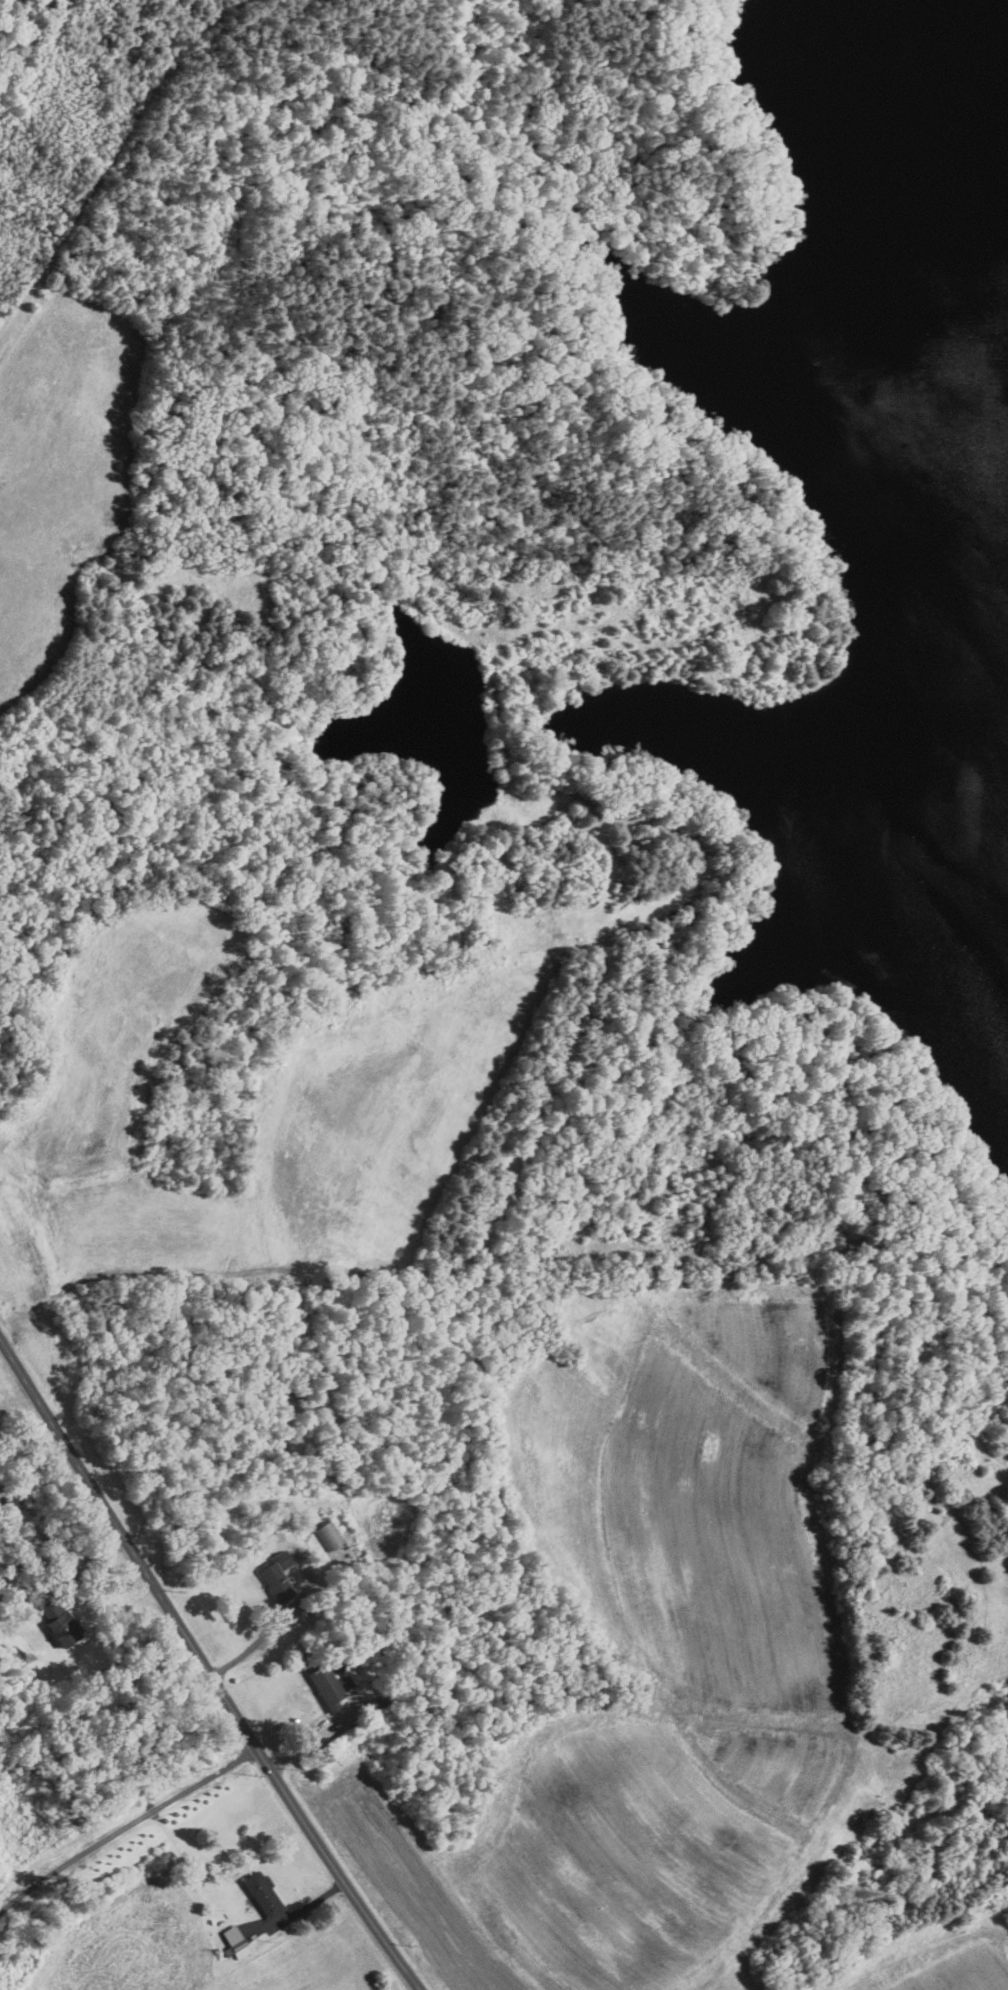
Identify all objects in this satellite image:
building: (272, 1542)
road: (75, 1559)
building: (276, 1576)
building: (58, 1621)
road: (273, 1626)
road: (205, 1667)
building: (347, 1680)
building: (326, 1685)
road: (307, 1741)
road: (125, 1827)
building: (263, 1893)
road: (295, 1910)
building: (234, 1941)

